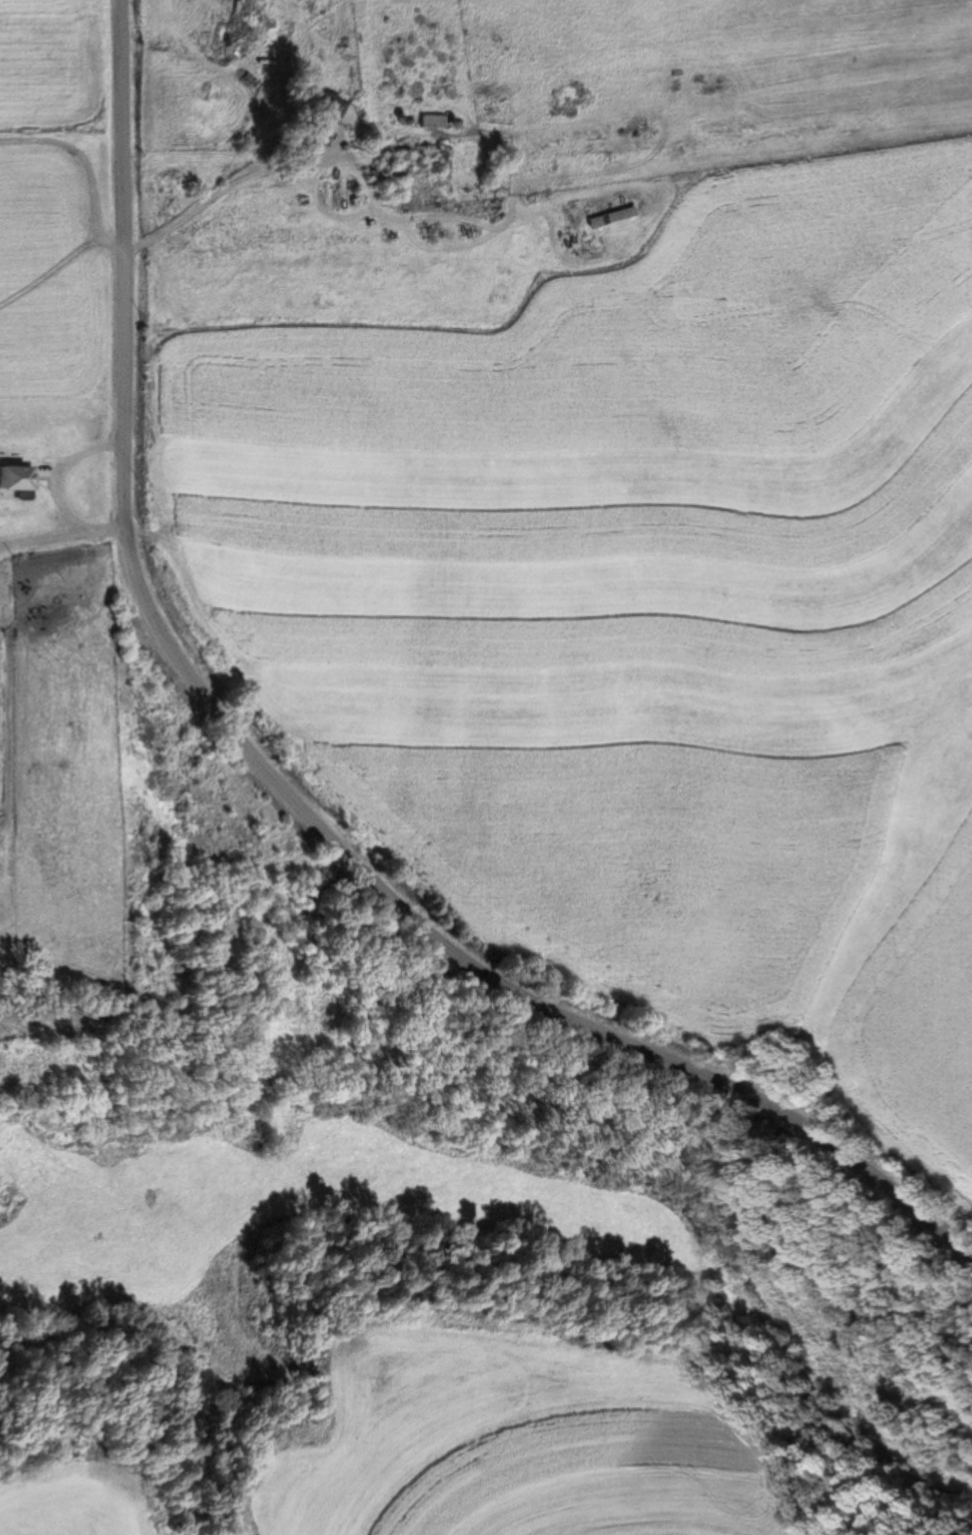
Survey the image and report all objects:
building: (236, 31)
building: (338, 112)
building: (431, 123)
building: (612, 219)
building: (18, 480)
road: (268, 799)

